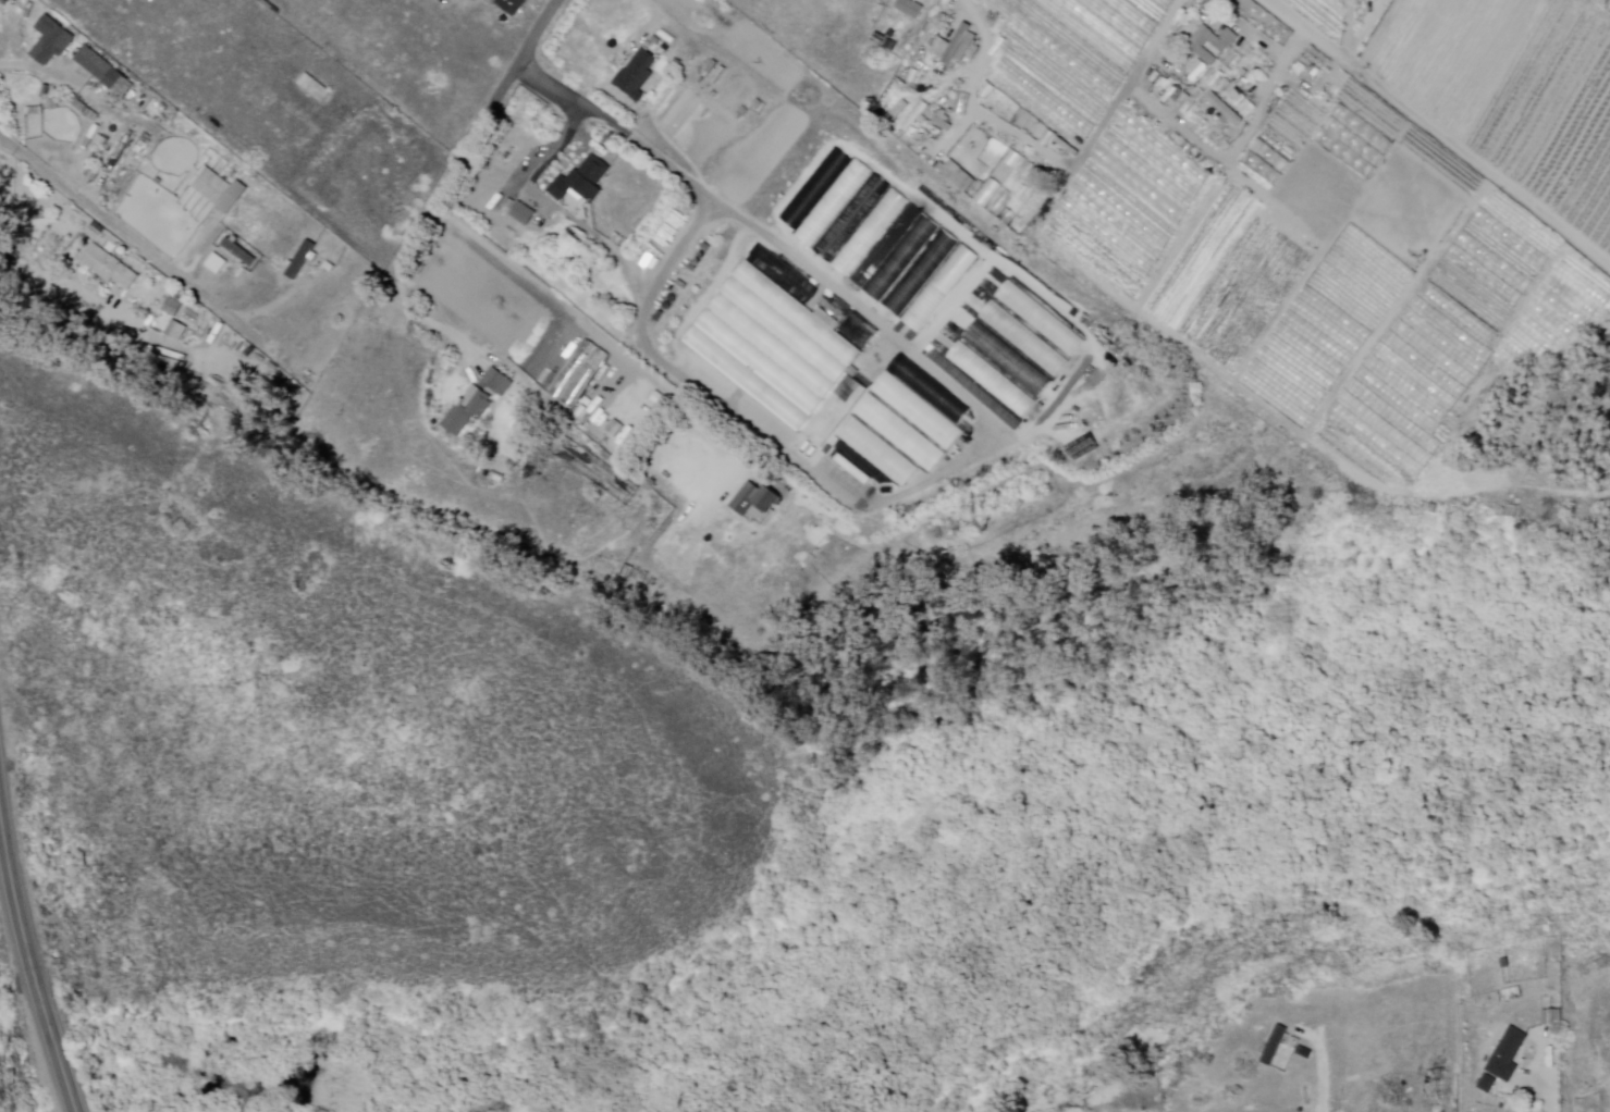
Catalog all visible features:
road: (960, 5)
building: (513, 7)
building: (911, 8)
road: (653, 23)
road: (1351, 30)
building: (54, 42)
building: (1210, 44)
building: (961, 47)
crop: (1065, 61)
road: (15, 66)
building: (100, 69)
building: (640, 76)
building: (310, 88)
building: (1216, 110)
road: (573, 118)
road: (472, 127)
road: (1435, 132)
building: (951, 176)
building: (966, 177)
building: (585, 182)
building: (220, 190)
crop: (828, 209)
building: (526, 213)
building: (516, 214)
crop: (1378, 221)
road: (122, 233)
building: (871, 233)
building: (241, 252)
building: (303, 261)
building: (110, 268)
building: (922, 273)
road: (66, 291)
building: (174, 308)
road: (422, 320)
road: (593, 328)
building: (179, 332)
crop: (1012, 347)
building: (784, 355)
building: (580, 374)
building: (499, 383)
building: (470, 412)
building: (901, 433)
building: (598, 471)
building: (758, 501)
building: (1491, 501)
road: (25, 981)
building: (1264, 1034)
building: (1273, 1046)
building: (1304, 1052)
building: (1507, 1054)
building: (1487, 1084)

